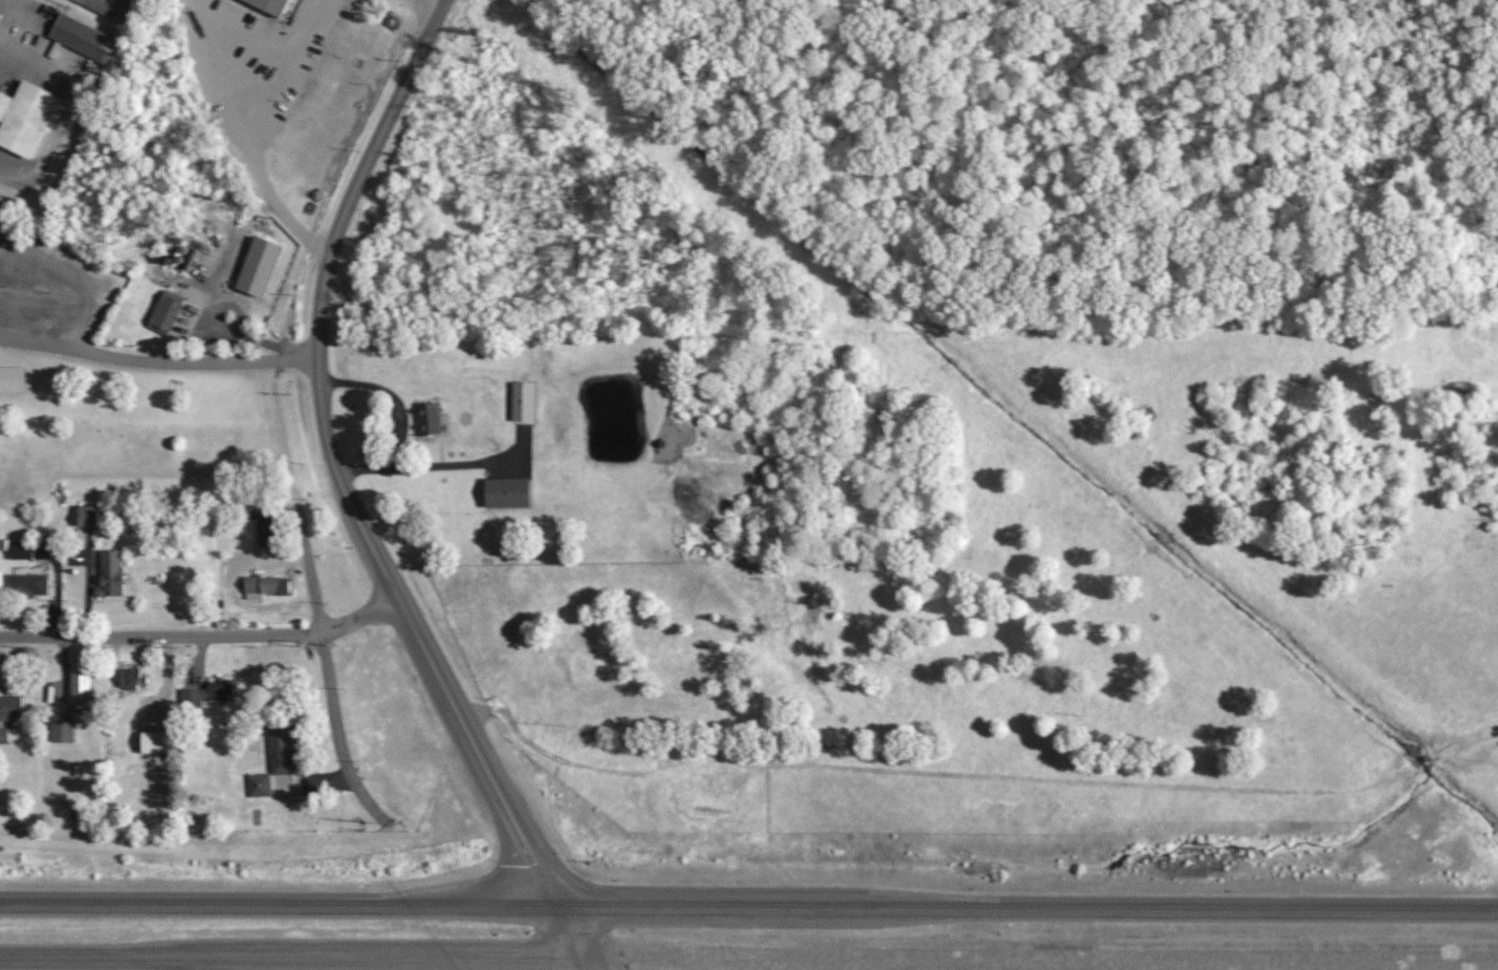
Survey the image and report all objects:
road: (437, 0)
building: (268, 5)
building: (108, 7)
building: (83, 38)
road: (895, 62)
building: (23, 117)
road: (257, 131)
park: (983, 162)
park: (1440, 198)
building: (256, 266)
building: (163, 312)
road: (314, 356)
road: (154, 358)
building: (11, 379)
road: (388, 395)
building: (521, 401)
park: (138, 407)
building: (427, 419)
road: (425, 465)
building: (505, 492)
building: (85, 516)
building: (19, 551)
building: (108, 574)
building: (27, 585)
building: (265, 585)
road: (198, 629)
building: (78, 678)
building: (129, 678)
building: (204, 695)
road: (330, 706)
building: (9, 707)
building: (60, 728)
building: (3, 736)
building: (151, 742)
building: (280, 749)
building: (257, 785)
road: (506, 809)
road: (280, 908)
road: (1029, 910)
road: (573, 934)
road: (293, 957)
road: (589, 964)

